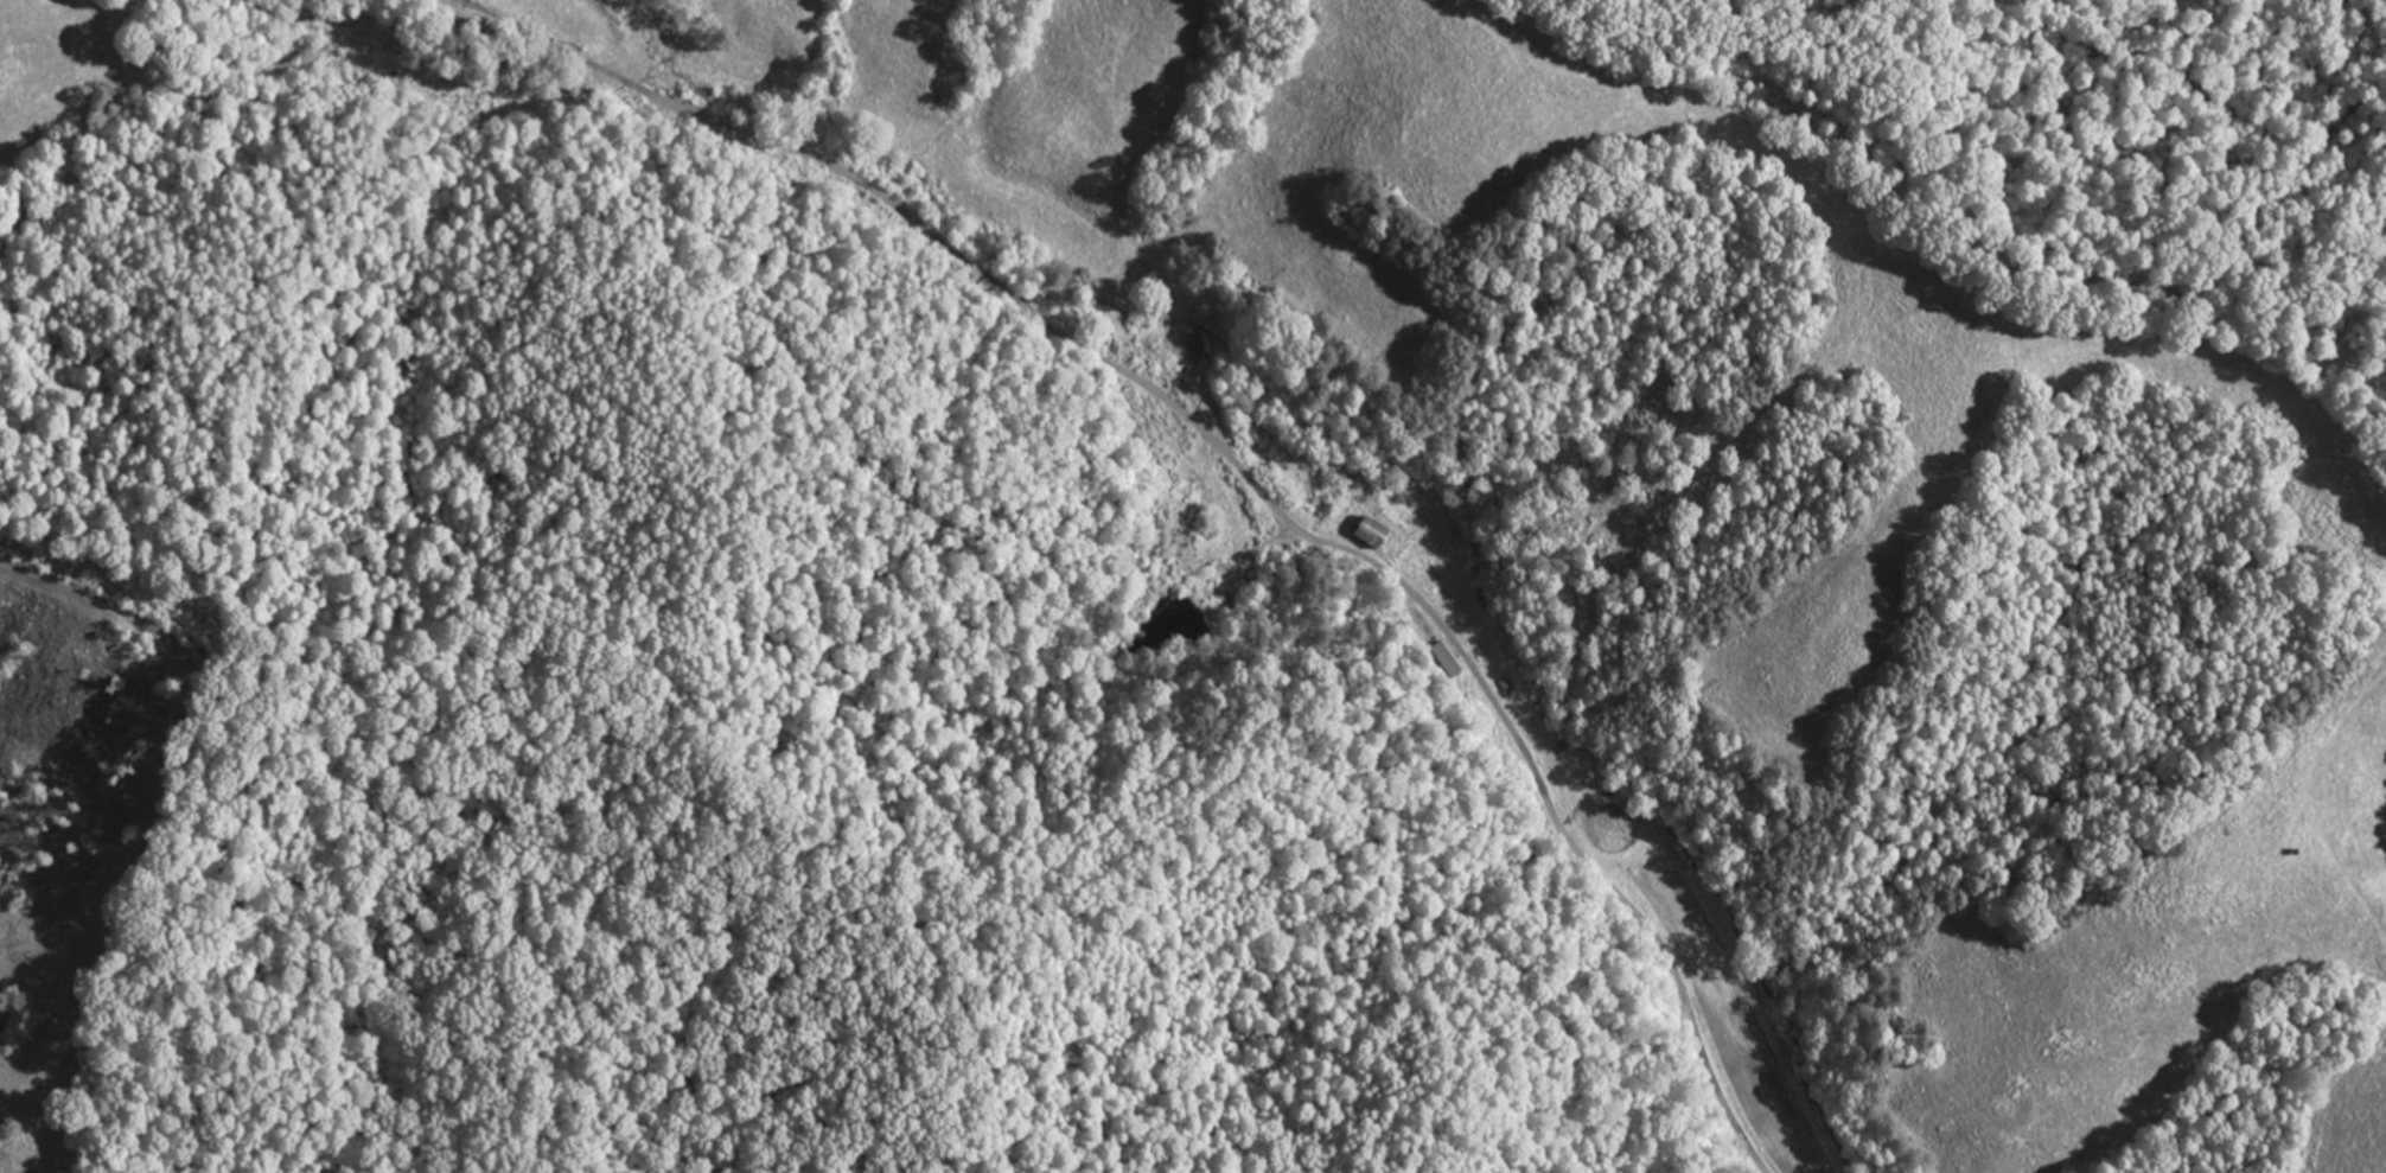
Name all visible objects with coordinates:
road: (1231, 464)
building: (1369, 534)

